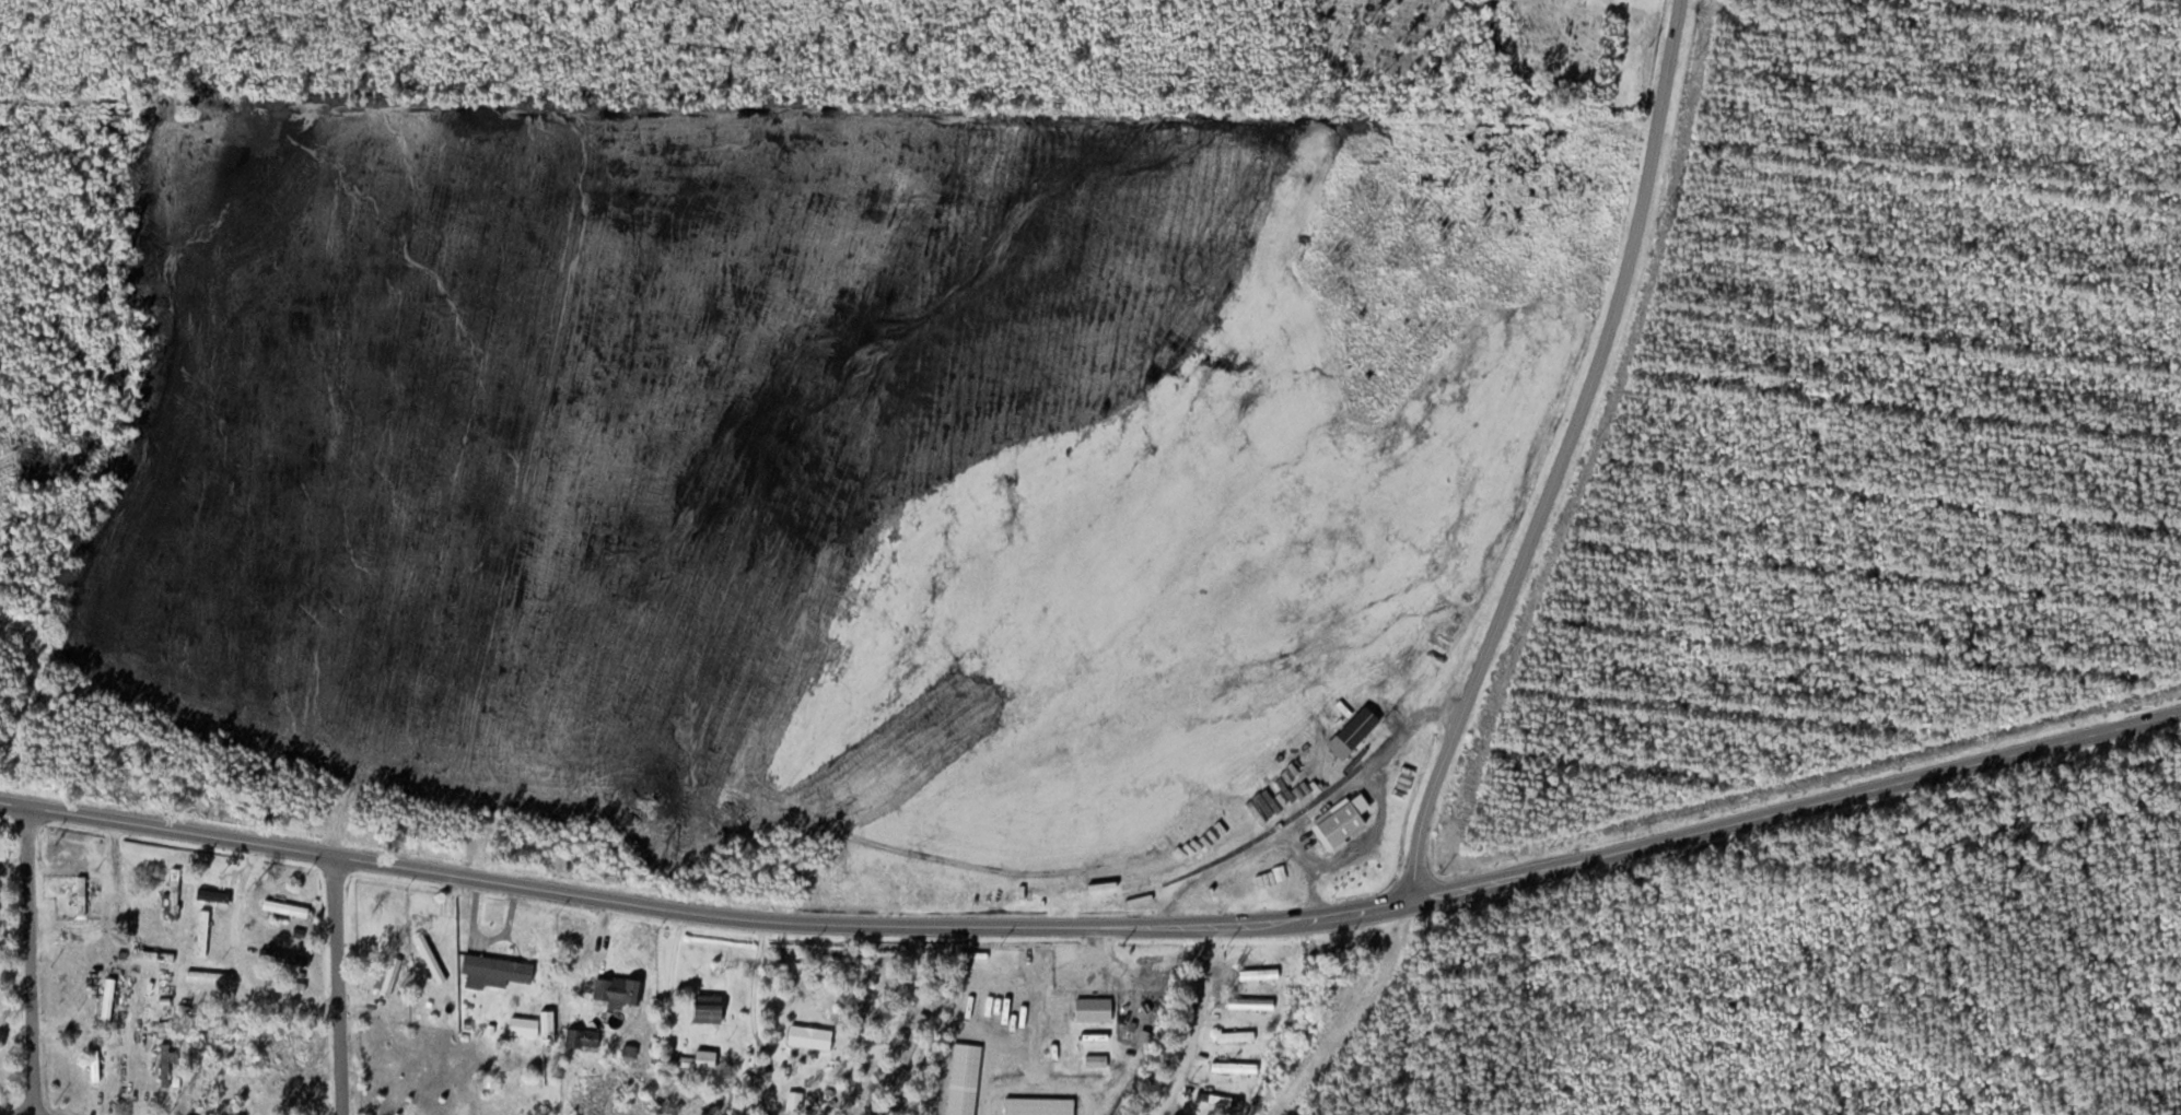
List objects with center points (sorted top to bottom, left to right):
road: (1553, 457)
road: (1793, 811)
building: (1336, 823)
building: (1268, 887)
building: (175, 890)
building: (83, 893)
building: (217, 894)
building: (288, 906)
road: (699, 913)
building: (285, 930)
building: (203, 931)
building: (154, 954)
building: (268, 955)
building: (299, 958)
road: (28, 960)
building: (501, 967)
building: (1258, 973)
building: (211, 976)
building: (296, 983)
road: (337, 986)
building: (627, 990)
building: (107, 1000)
building: (1248, 1003)
building: (713, 1008)
building: (1090, 1009)
building: (1019, 1010)
building: (921, 1023)
building: (535, 1024)
road: (1194, 1024)
building: (813, 1035)
building: (1231, 1036)
building: (586, 1037)
building: (702, 1059)
building: (96, 1061)
building: (1231, 1067)
building: (290, 1080)
building: (796, 1100)
building: (1222, 1100)
road: (8, 1114)

